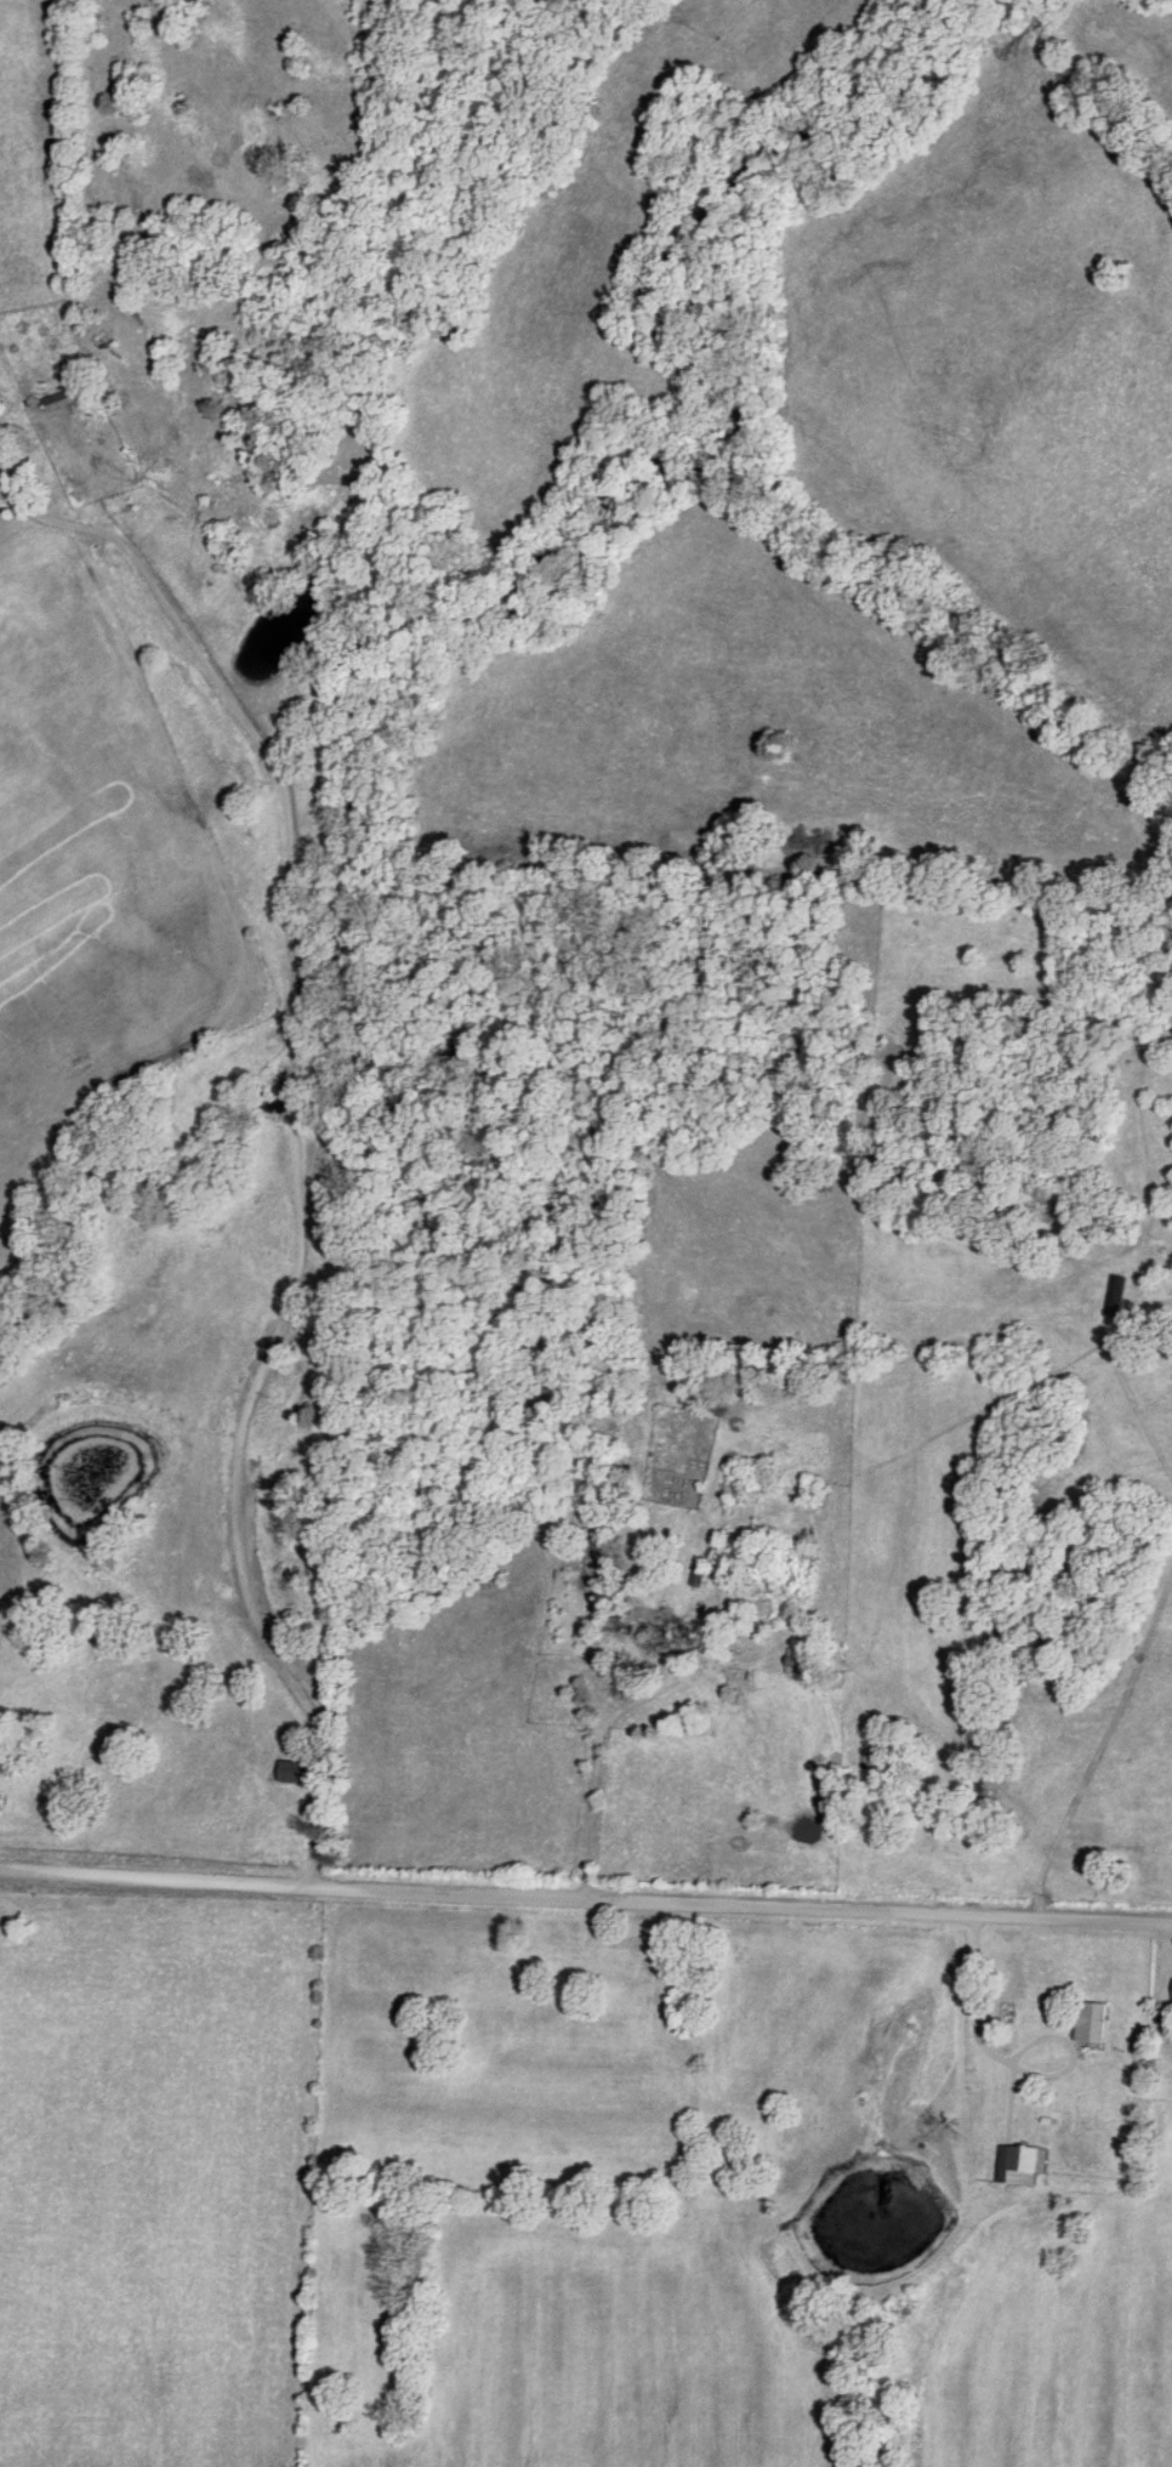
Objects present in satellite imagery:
building: (62, 398)
road: (300, 1133)
building: (648, 1633)
building: (292, 1770)
road: (585, 1903)
building: (1091, 2022)
building: (1024, 2162)

